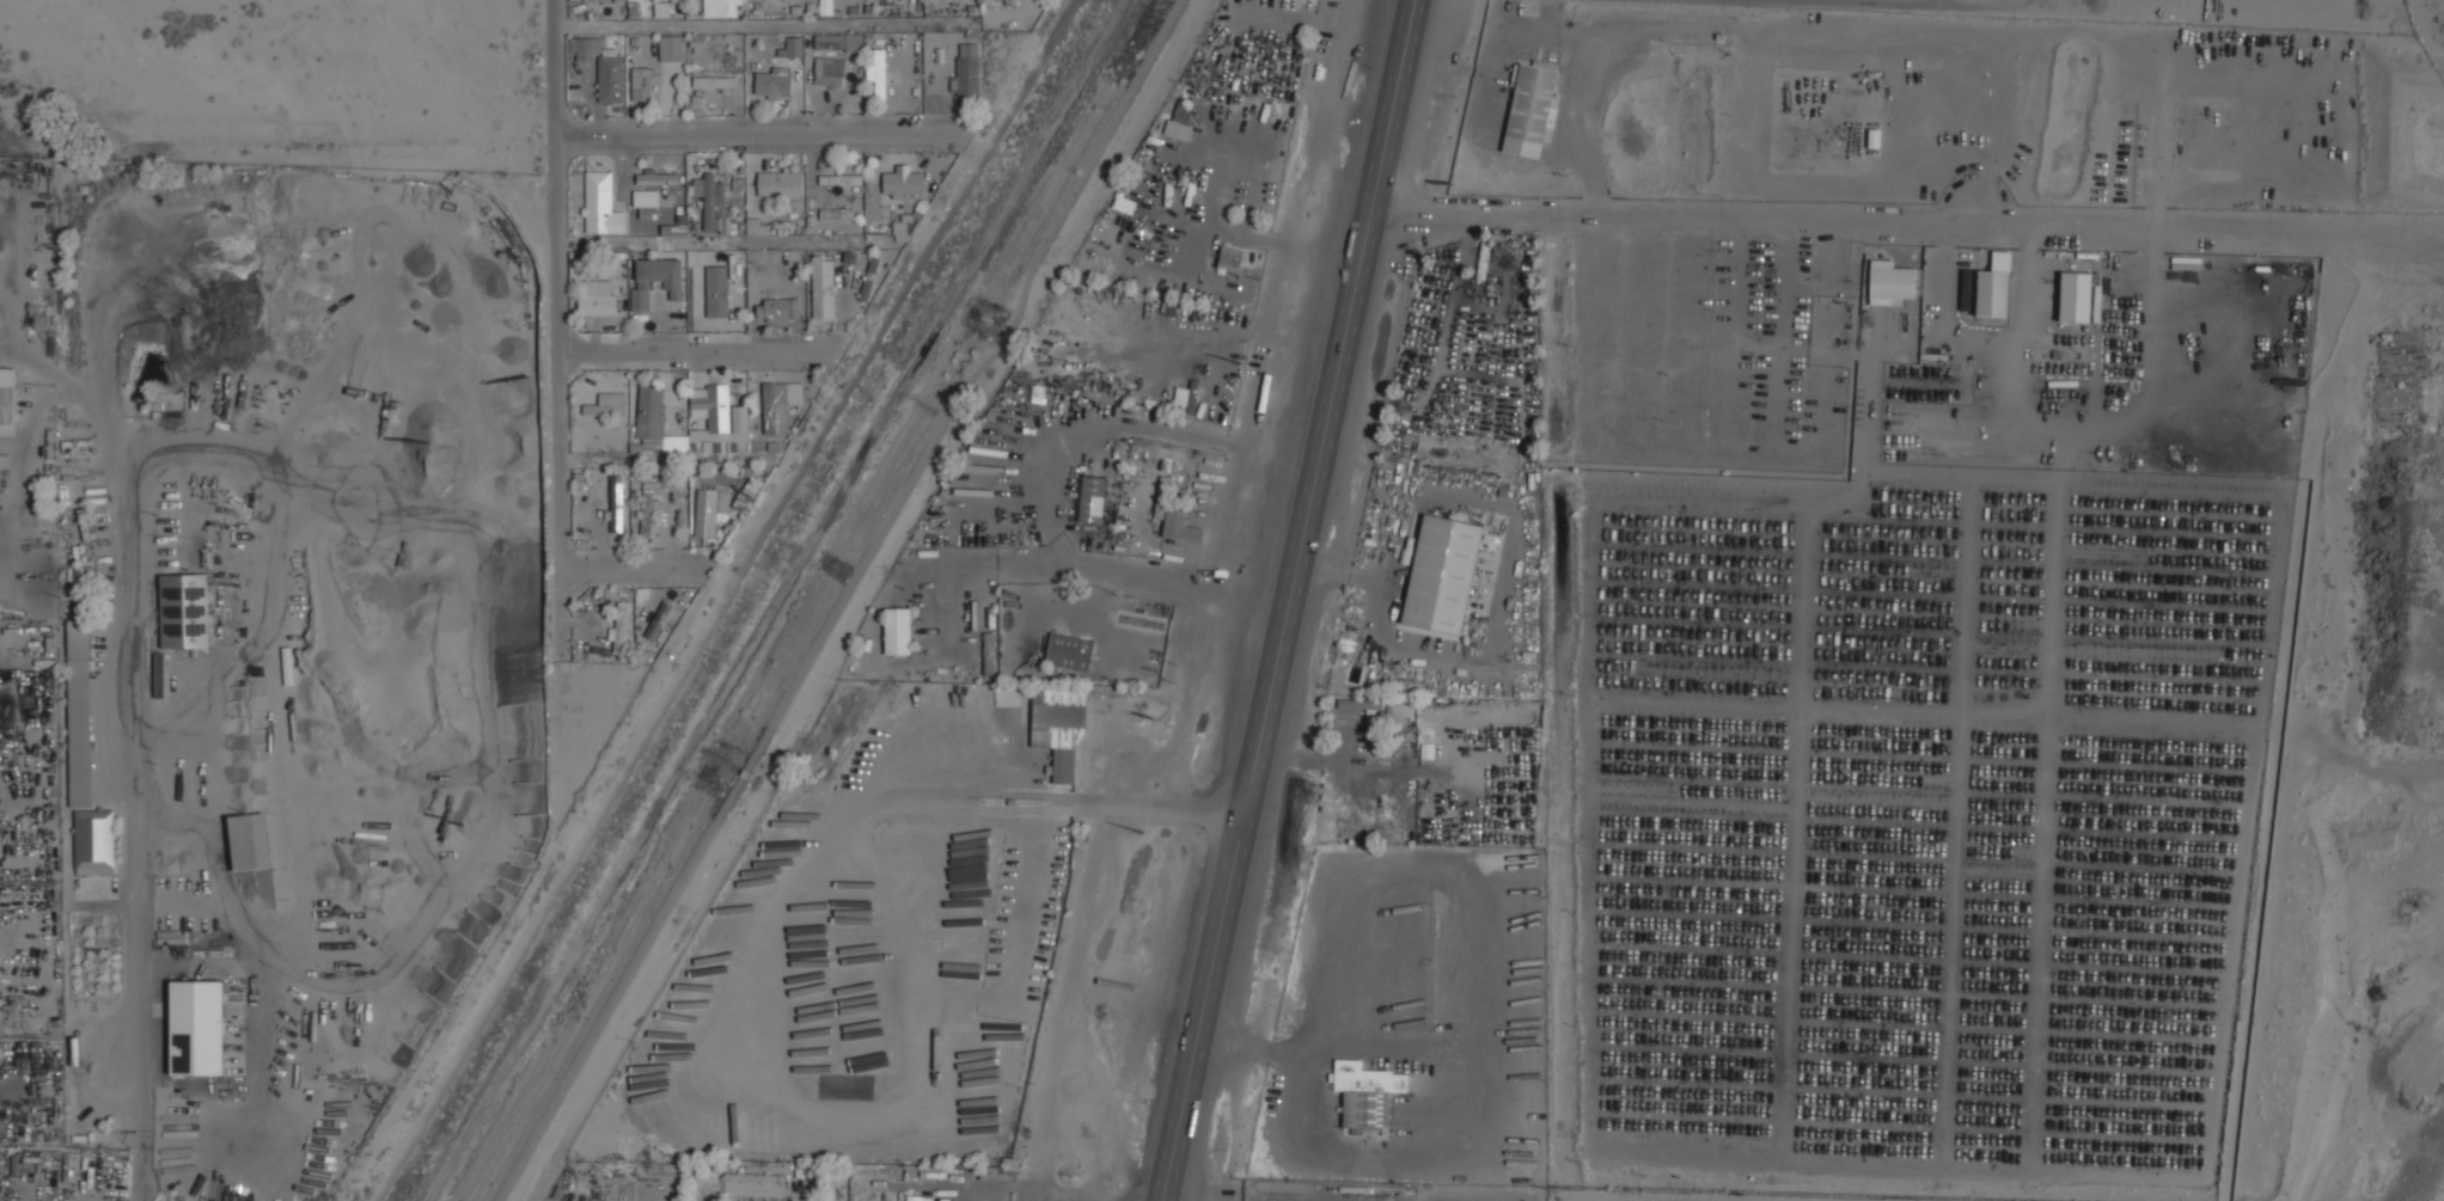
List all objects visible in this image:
building: (1007, 1)
building: (825, 7)
building: (721, 8)
building: (837, 41)
building: (793, 45)
building: (670, 48)
building: (582, 49)
road: (552, 67)
building: (966, 68)
building: (827, 71)
building: (880, 72)
building: (610, 79)
building: (713, 82)
building: (772, 82)
building: (641, 84)
building: (1529, 110)
building: (1179, 123)
road: (746, 133)
building: (658, 177)
building: (839, 177)
building: (902, 179)
building: (780, 183)
building: (709, 196)
building: (646, 203)
building: (599, 204)
road: (1900, 212)
building: (754, 226)
building: (900, 231)
building: (1483, 259)
building: (655, 280)
building: (868, 280)
building: (1890, 282)
building: (1993, 287)
building: (823, 289)
building: (716, 290)
building: (2075, 296)
building: (597, 304)
building: (777, 310)
road: (666, 357)
building: (780, 393)
building: (7, 396)
building: (1184, 397)
building: (606, 404)
building: (711, 408)
building: (649, 412)
road: (555, 421)
building: (697, 423)
building: (737, 445)
road: (1026, 454)
road: (624, 470)
building: (747, 494)
building: (1092, 500)
building: (616, 503)
building: (708, 509)
building: (647, 511)
building: (585, 515)
building: (1179, 526)
road: (1096, 572)
road: (630, 574)
building: (1442, 574)
road: (845, 600)
road: (1288, 601)
building: (185, 609)
building: (658, 619)
building: (621, 626)
building: (898, 630)
building: (1070, 651)
building: (80, 712)
building: (1064, 765)
road: (915, 795)
road: (134, 799)
building: (94, 841)
building: (250, 841)
building: (197, 1027)
road: (1465, 1078)
building: (1367, 1093)
building: (753, 1183)
building: (917, 1197)

